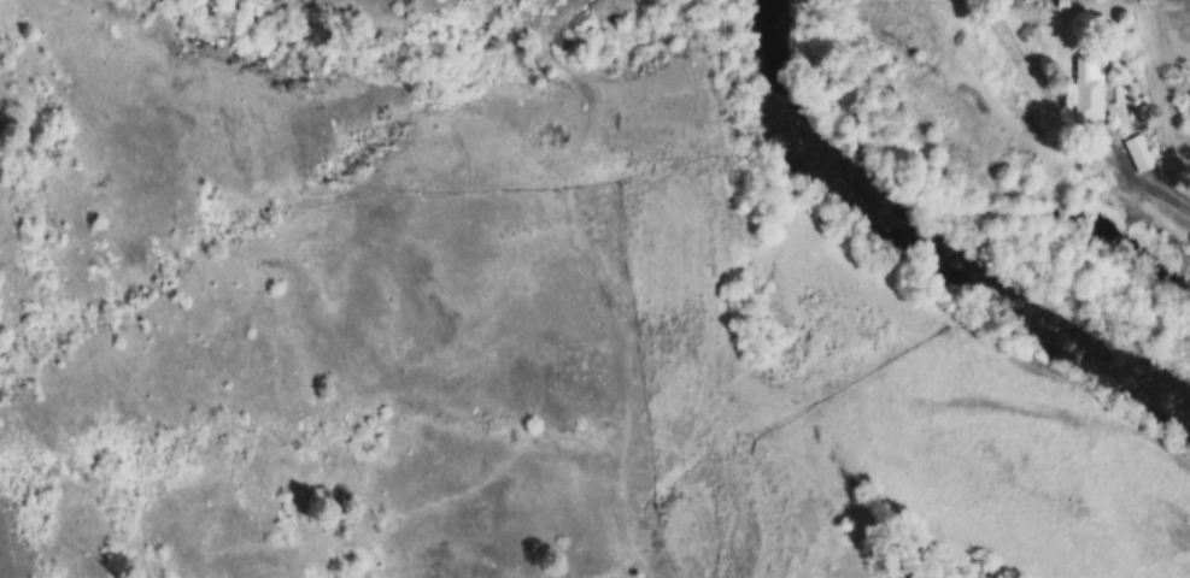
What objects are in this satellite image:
building: (1088, 88)
building: (1138, 153)
road: (1135, 188)
river: (946, 238)

